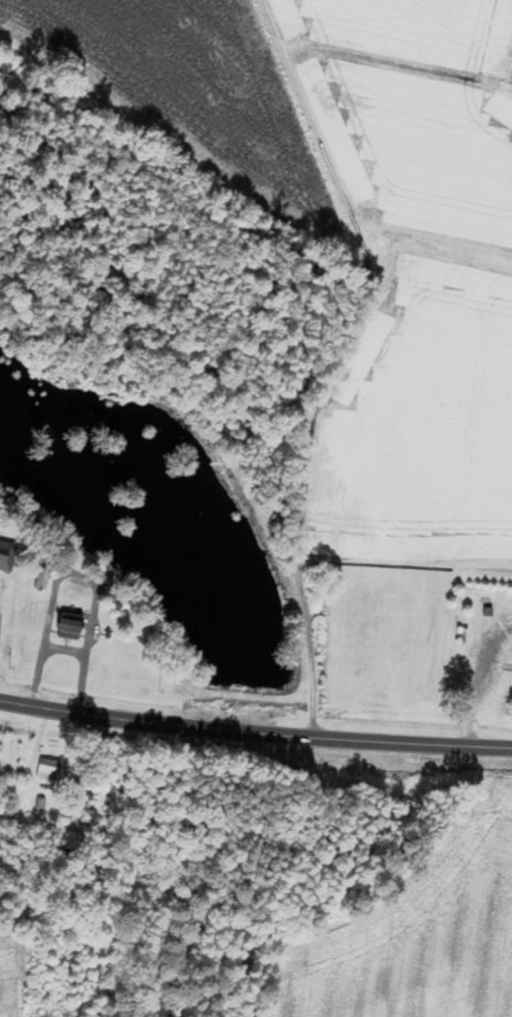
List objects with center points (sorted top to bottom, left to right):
road: (338, 360)
building: (7, 556)
building: (41, 580)
building: (70, 627)
road: (63, 650)
road: (255, 735)
building: (49, 769)

